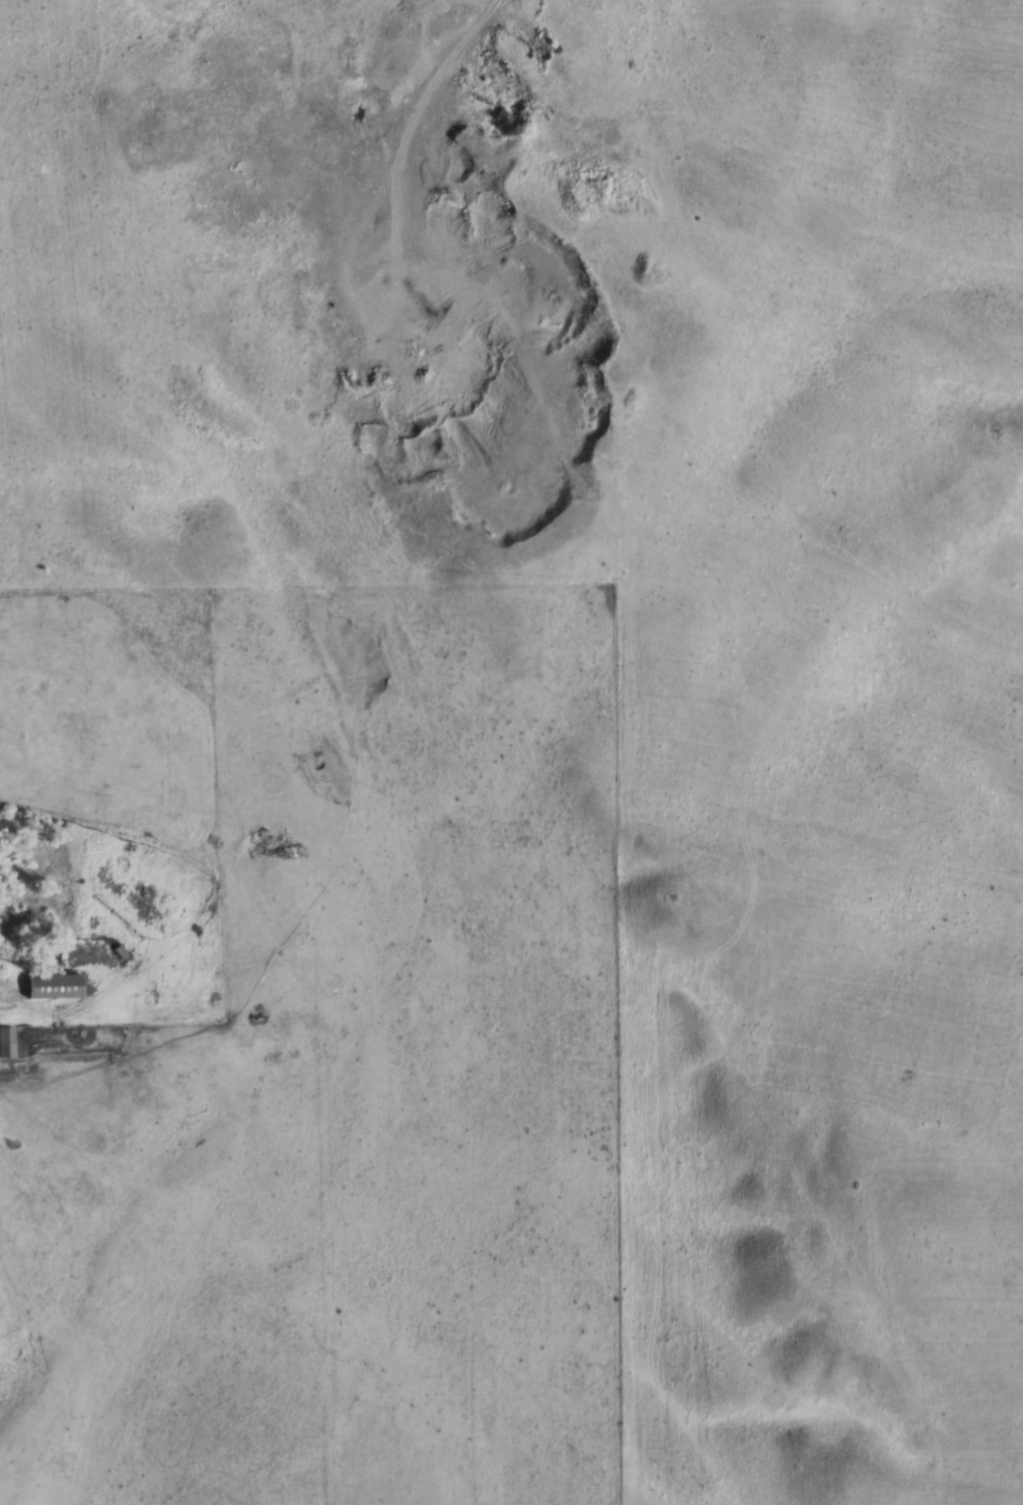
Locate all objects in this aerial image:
road: (419, 144)
building: (55, 987)
building: (7, 1043)

